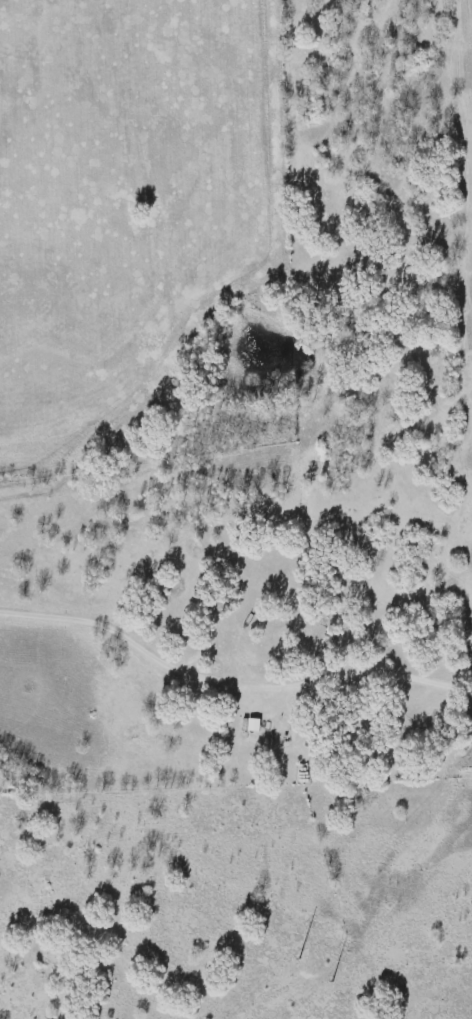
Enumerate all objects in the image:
road: (229, 684)
power tower: (301, 954)

